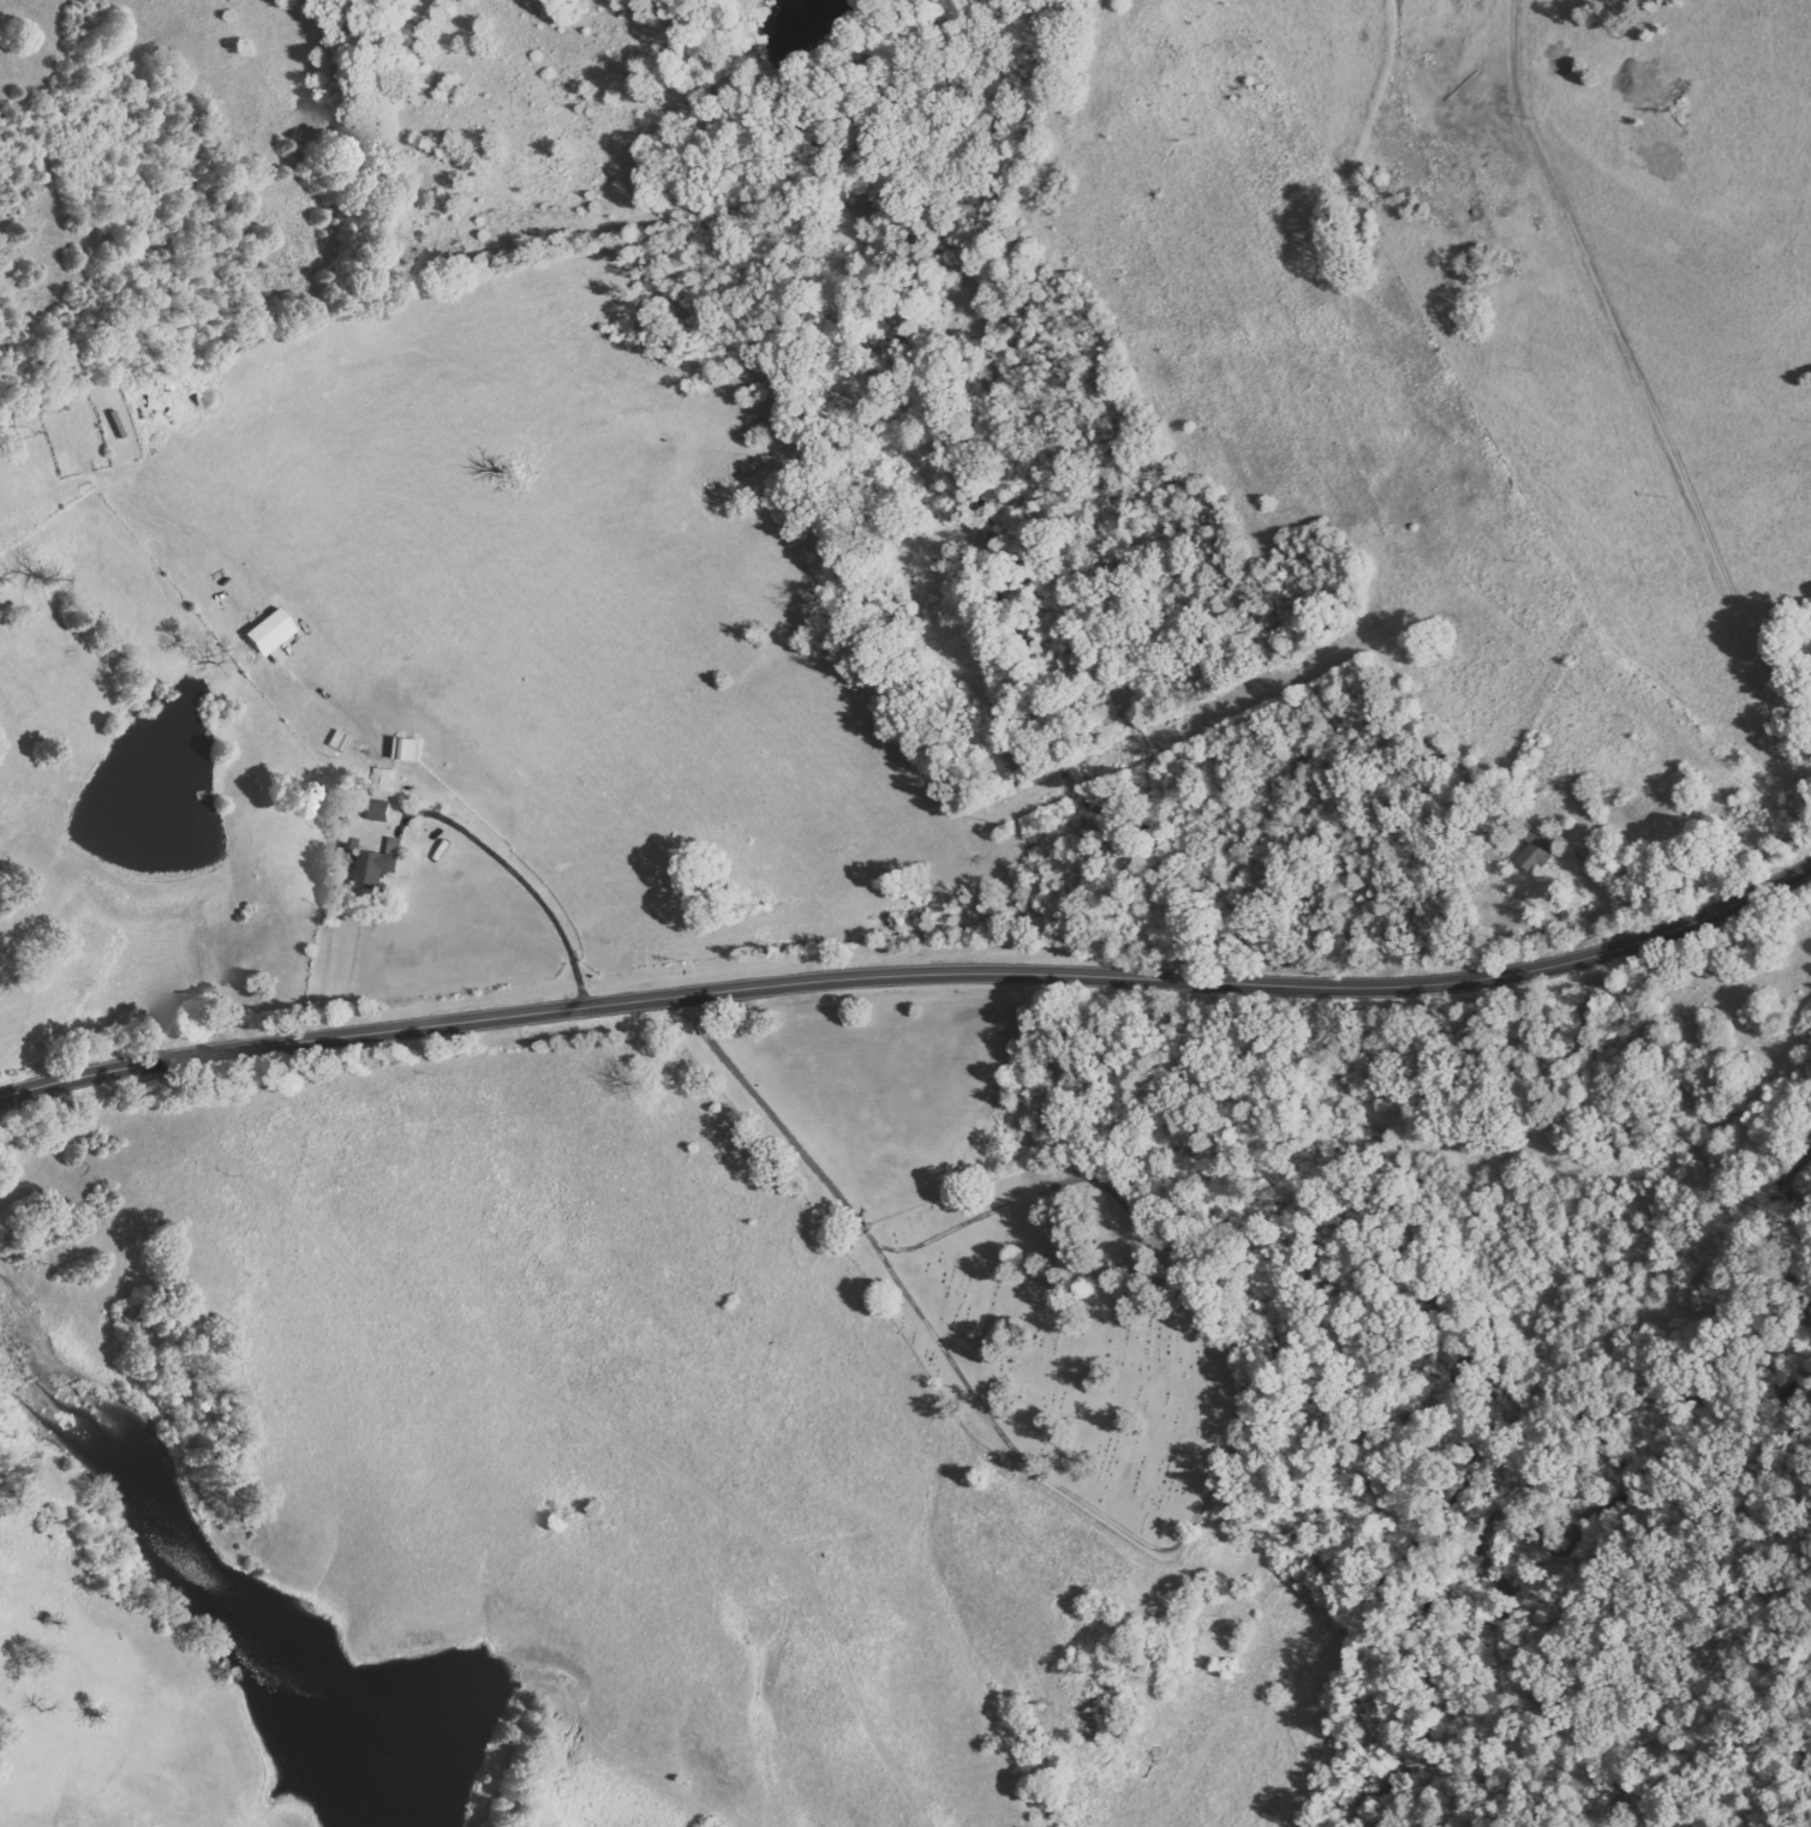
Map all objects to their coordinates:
road: (1678, 387)
building: (270, 631)
building: (387, 780)
building: (382, 811)
building: (1540, 853)
building: (381, 864)
road: (912, 978)
road: (743, 1113)
park: (1074, 1340)

